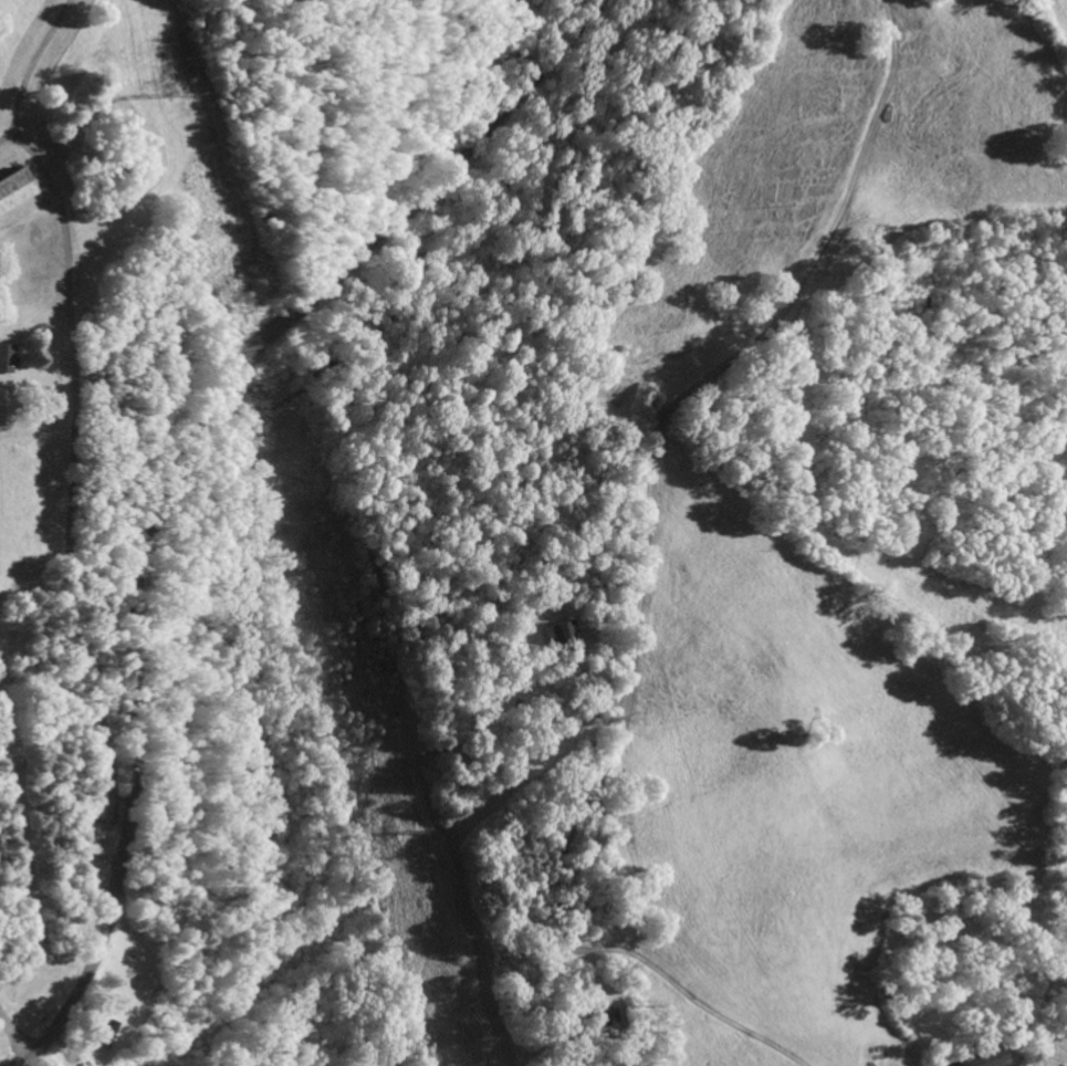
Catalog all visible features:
road: (29, 67)
power tower: (177, 92)
building: (12, 188)
building: (4, 358)
road: (656, 437)
road: (72, 441)
road: (169, 461)
building: (557, 633)
road: (104, 819)
power tower: (398, 830)
road: (14, 1033)
building: (101, 1034)
building: (975, 1057)

